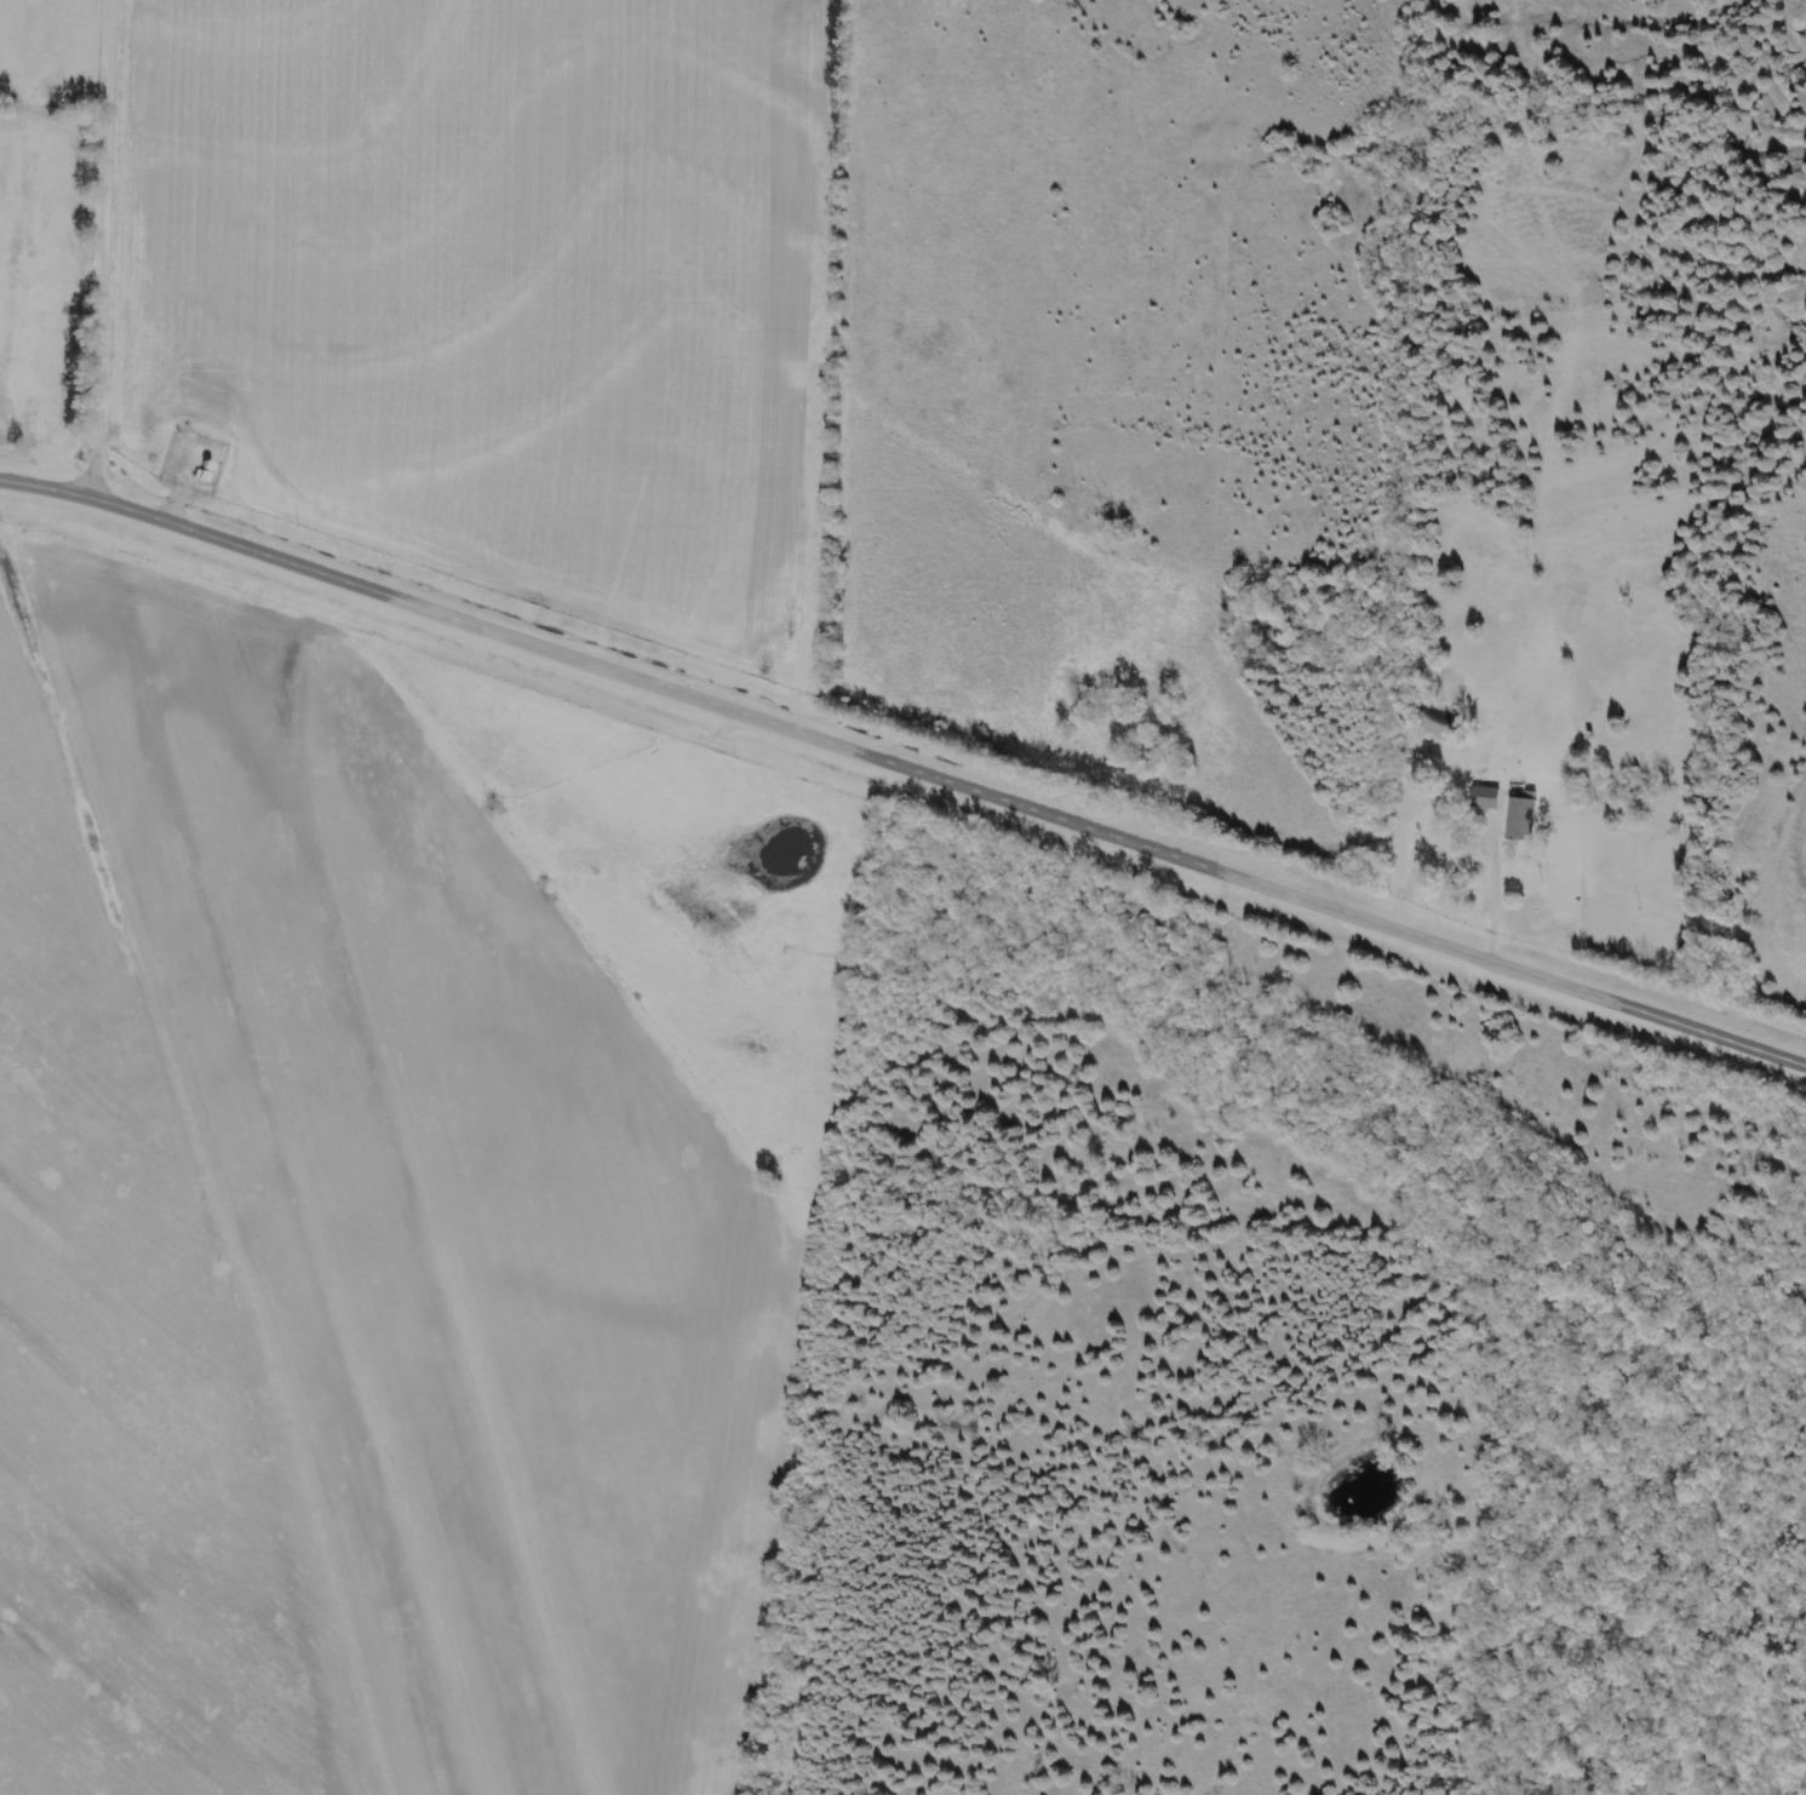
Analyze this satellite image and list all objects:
road: (117, 248)
road: (904, 759)
building: (1490, 796)
building: (1525, 816)

